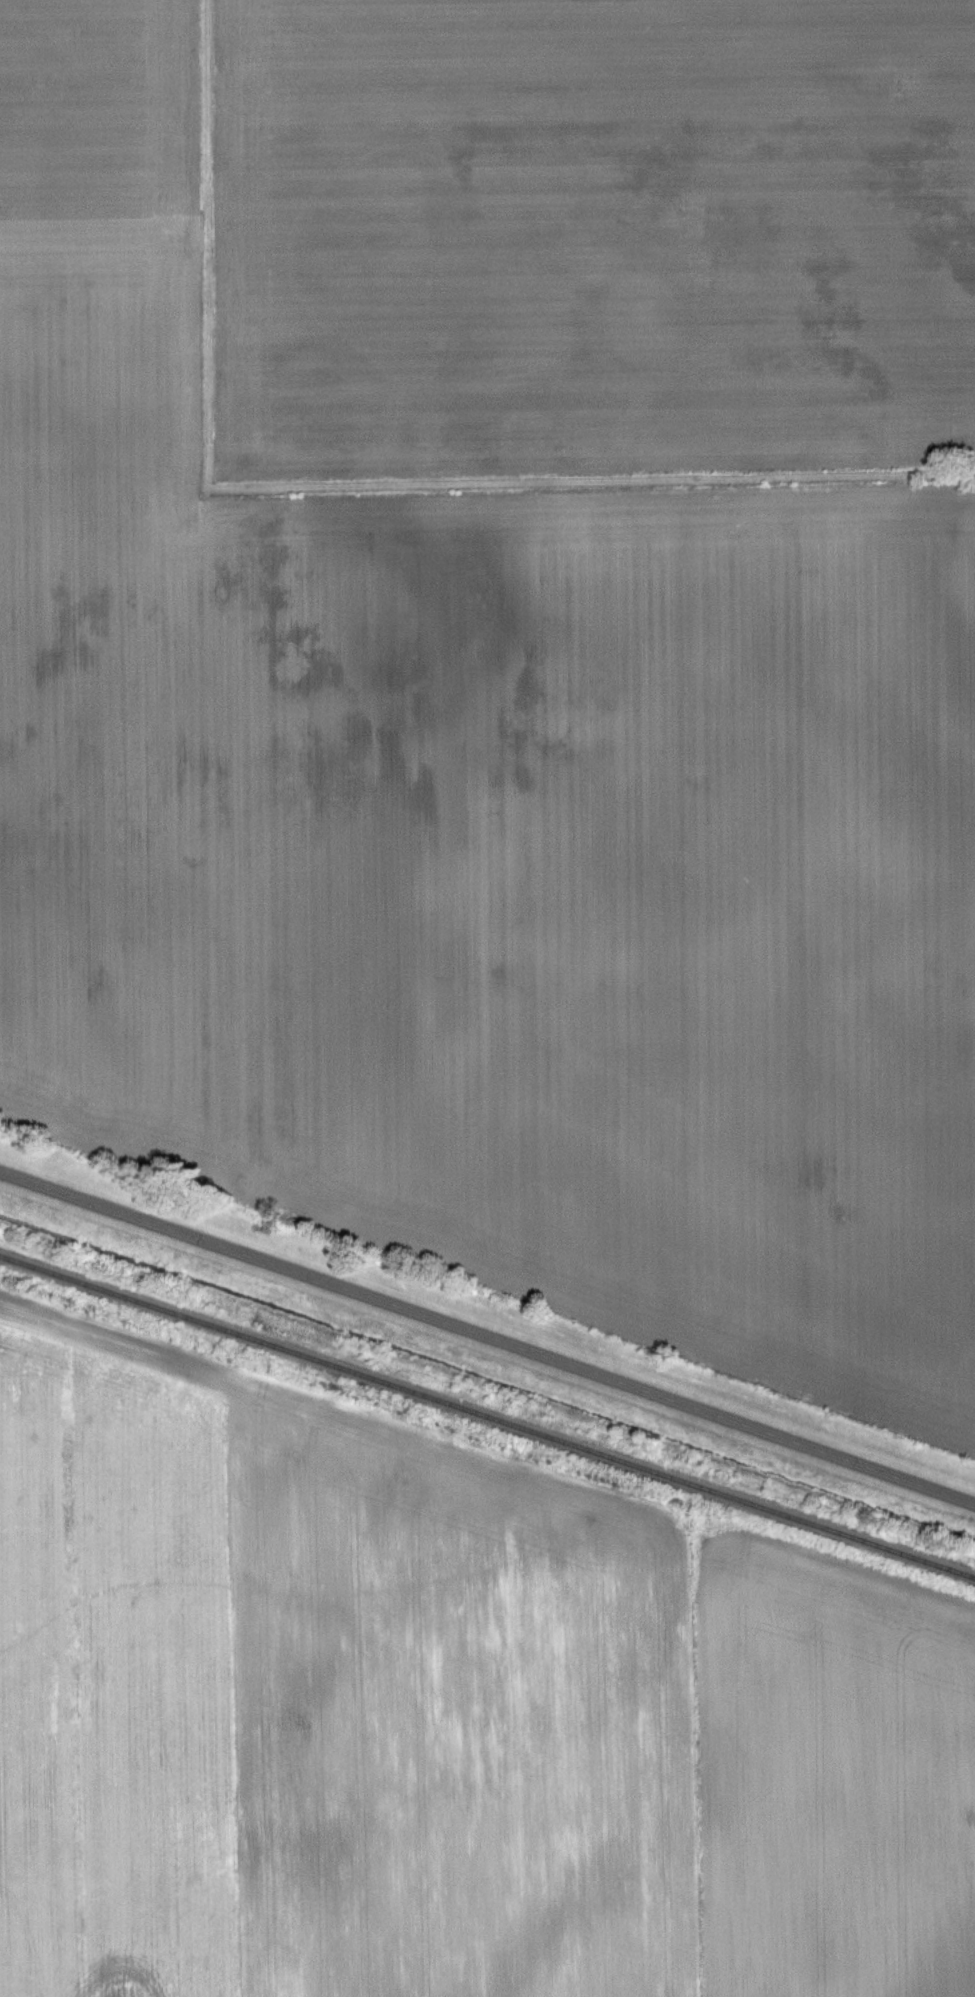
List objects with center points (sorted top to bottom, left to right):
road: (487, 1337)
railway: (487, 1417)

